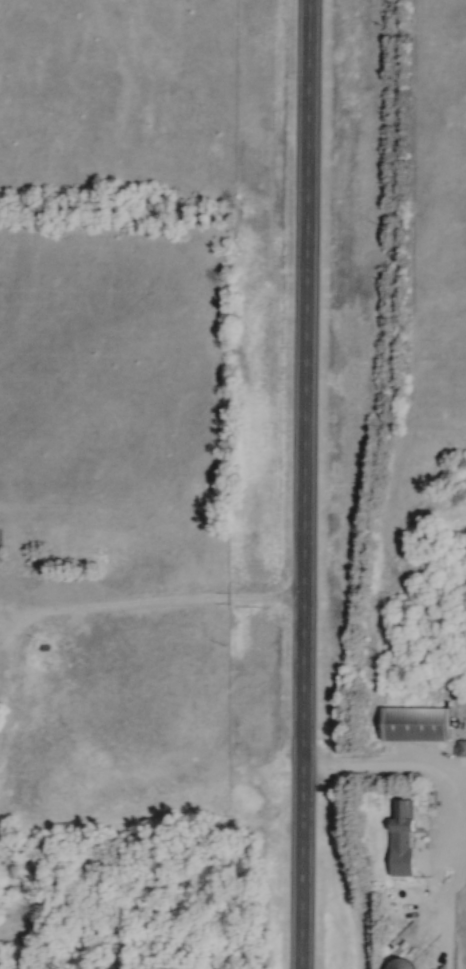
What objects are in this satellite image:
road: (300, 484)
road: (145, 610)
building: (418, 725)
building: (405, 818)
building: (445, 831)
building: (404, 965)

